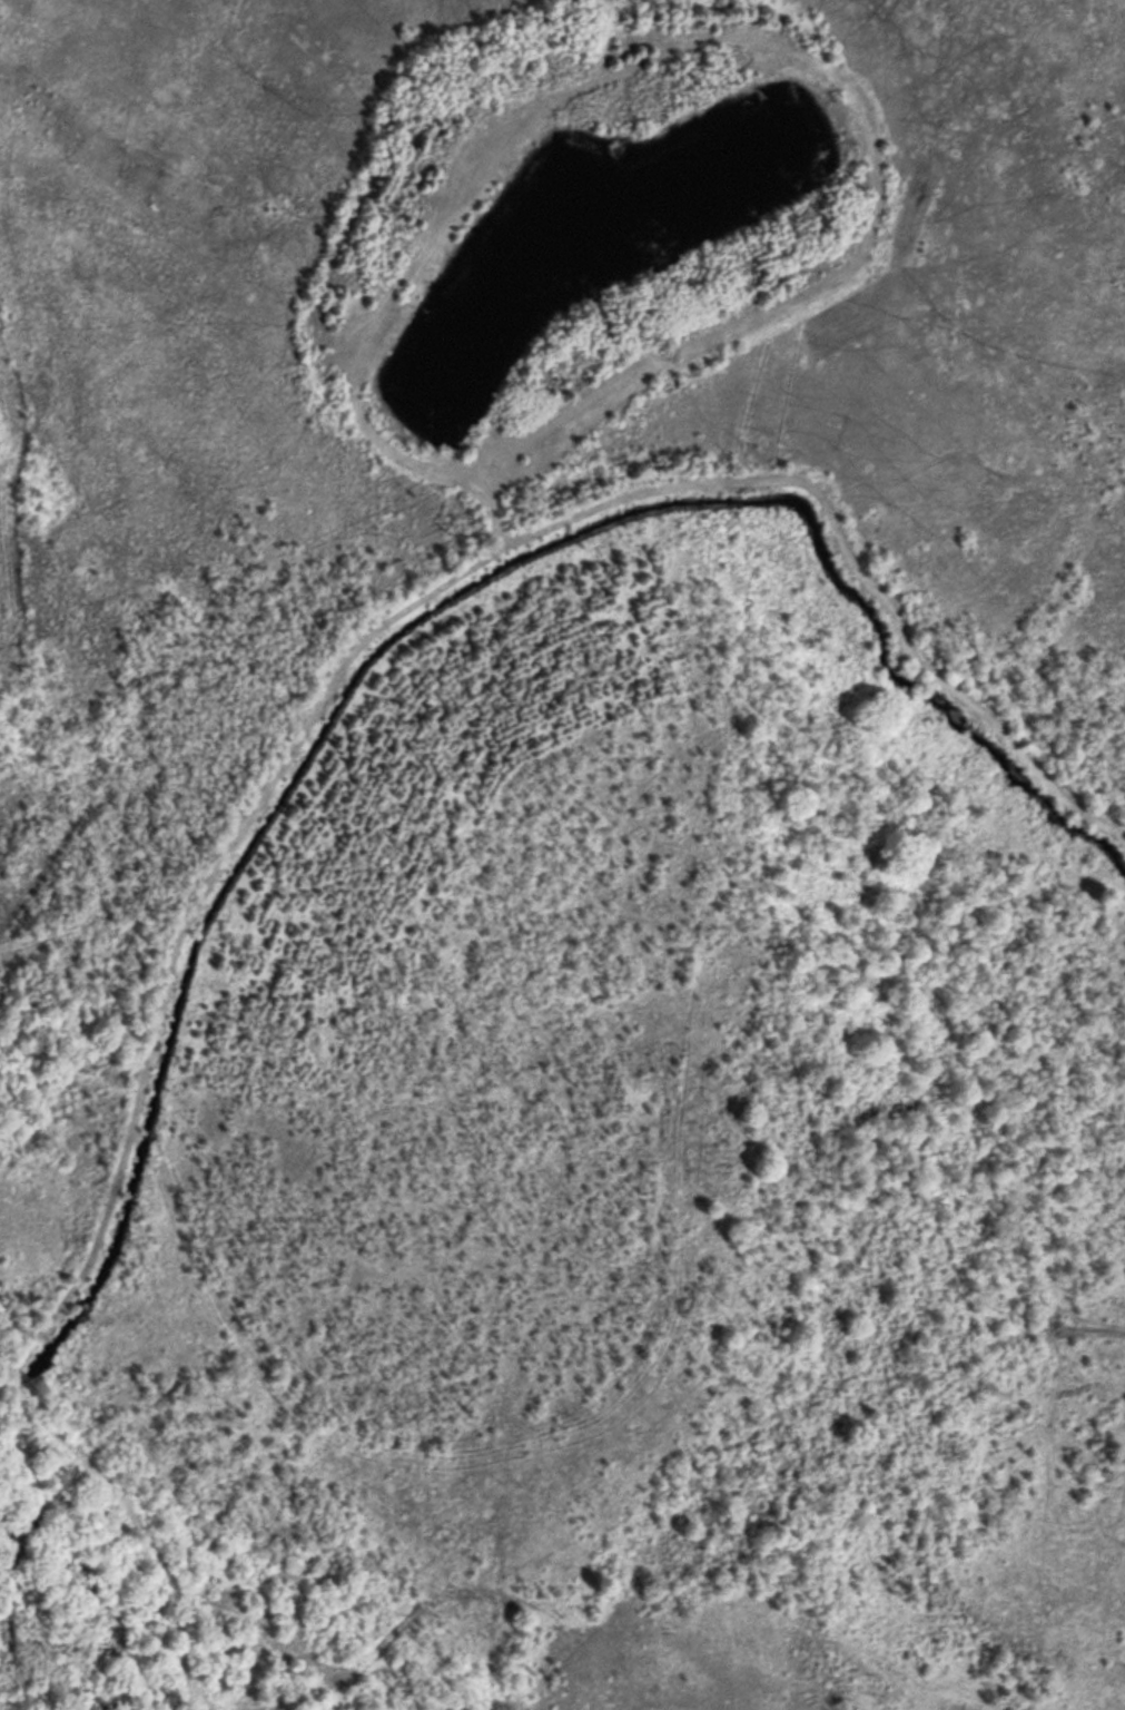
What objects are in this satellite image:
road: (425, 599)

